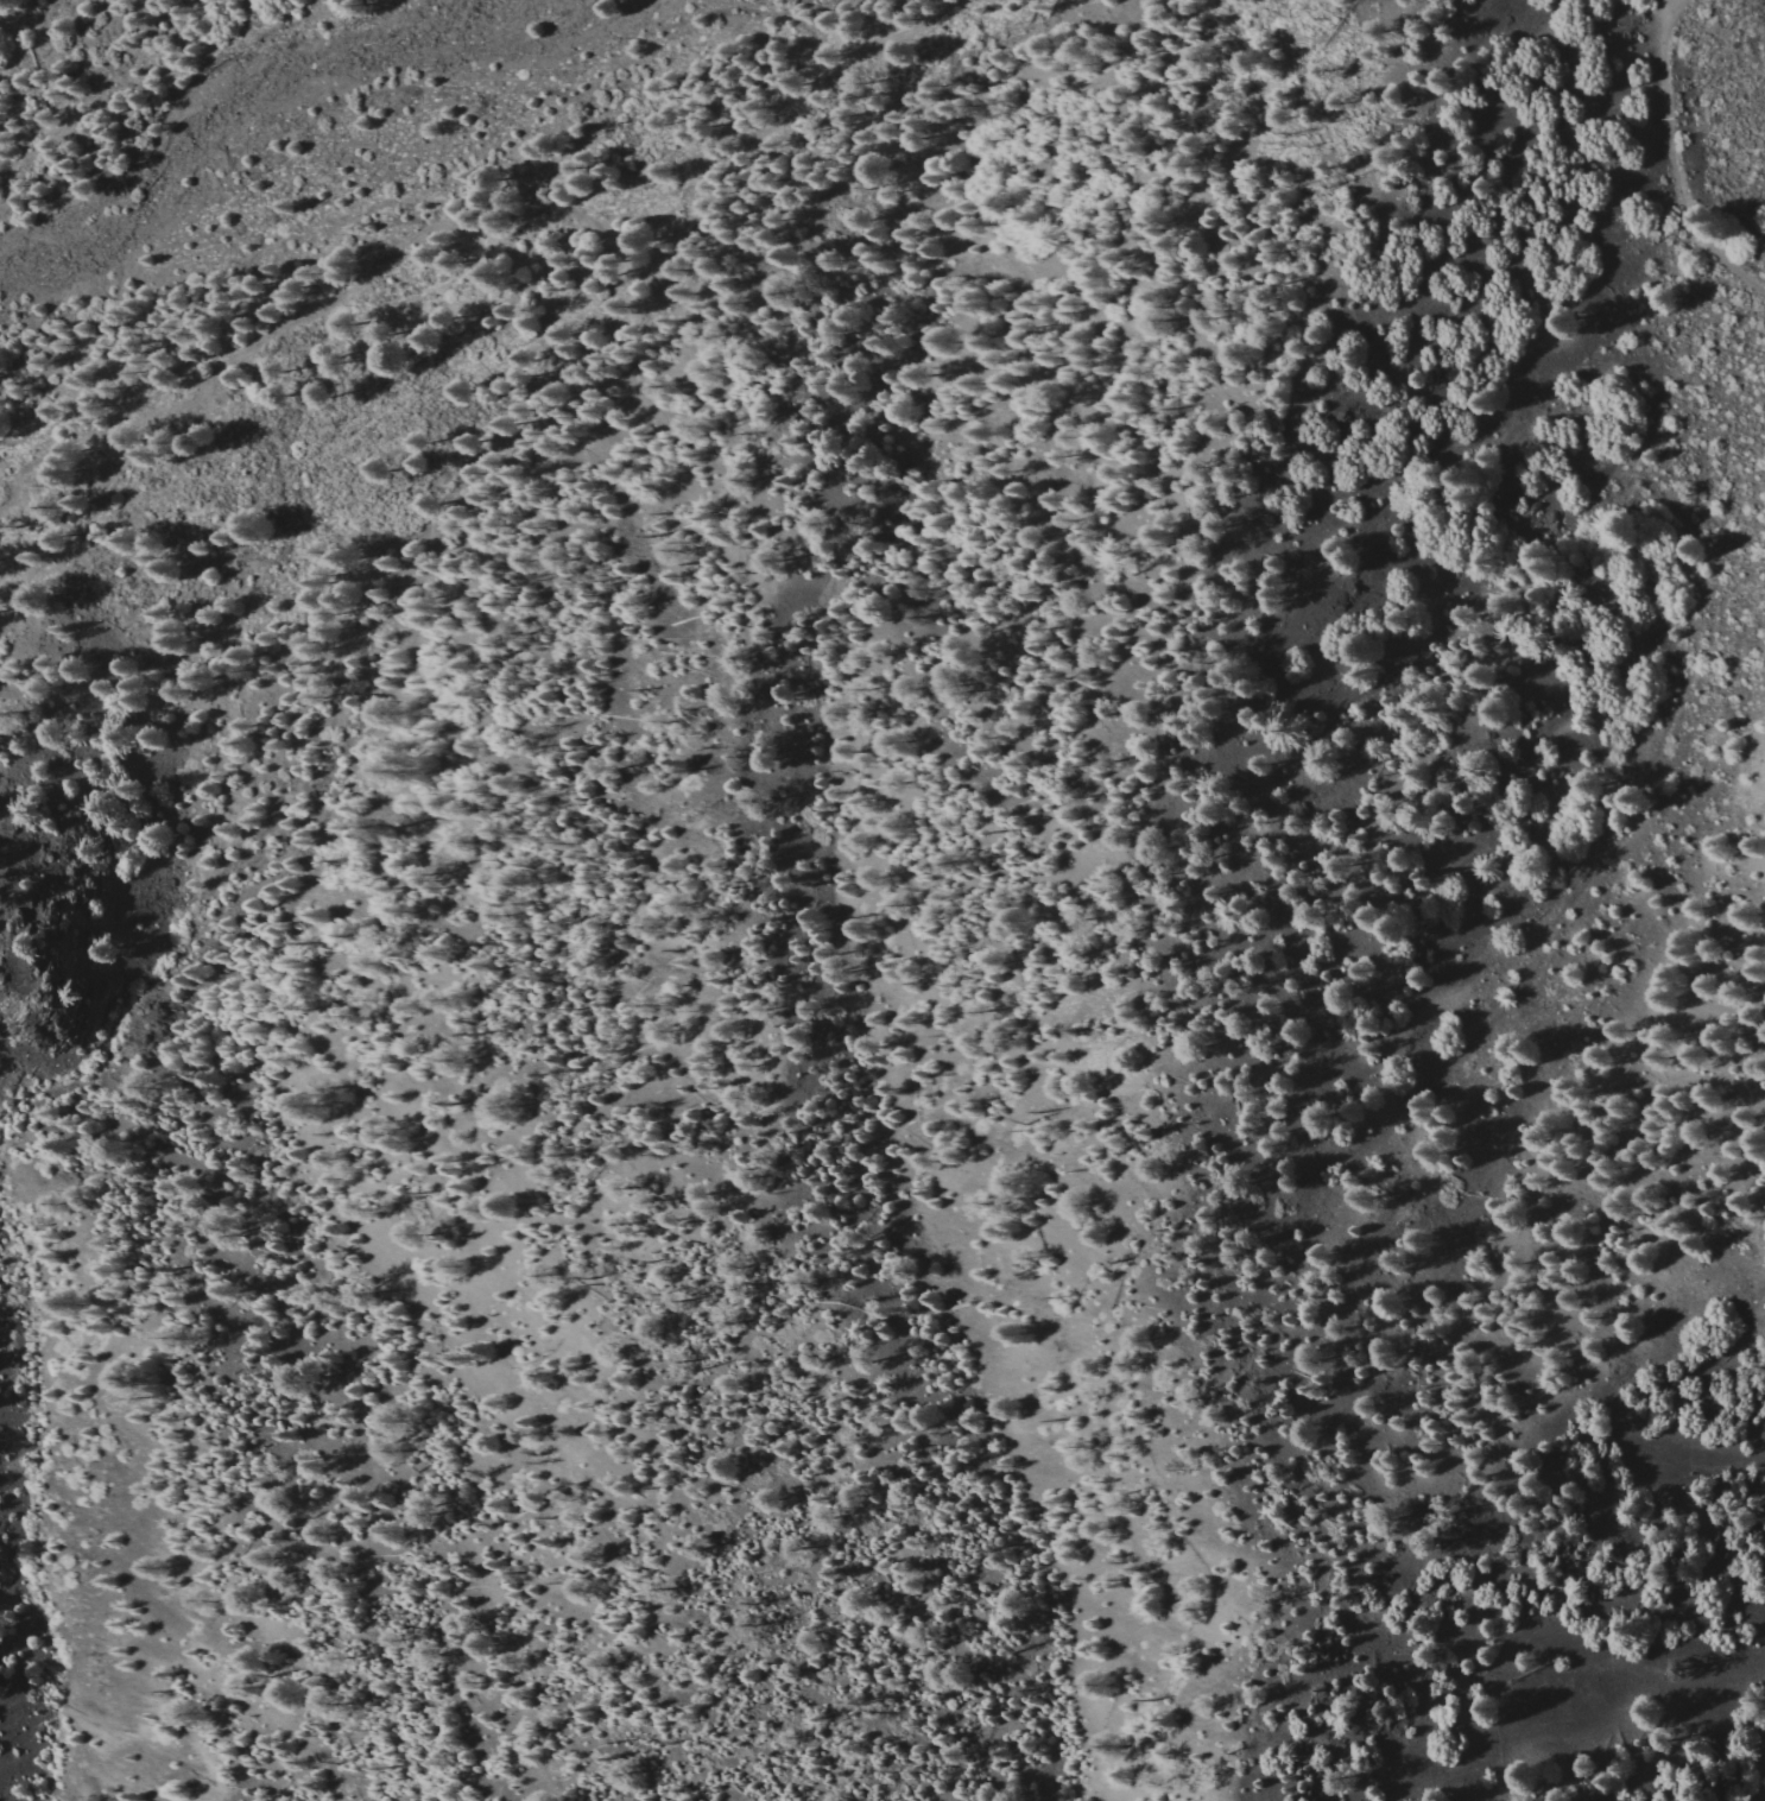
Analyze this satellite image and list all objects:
road: (1677, 160)

